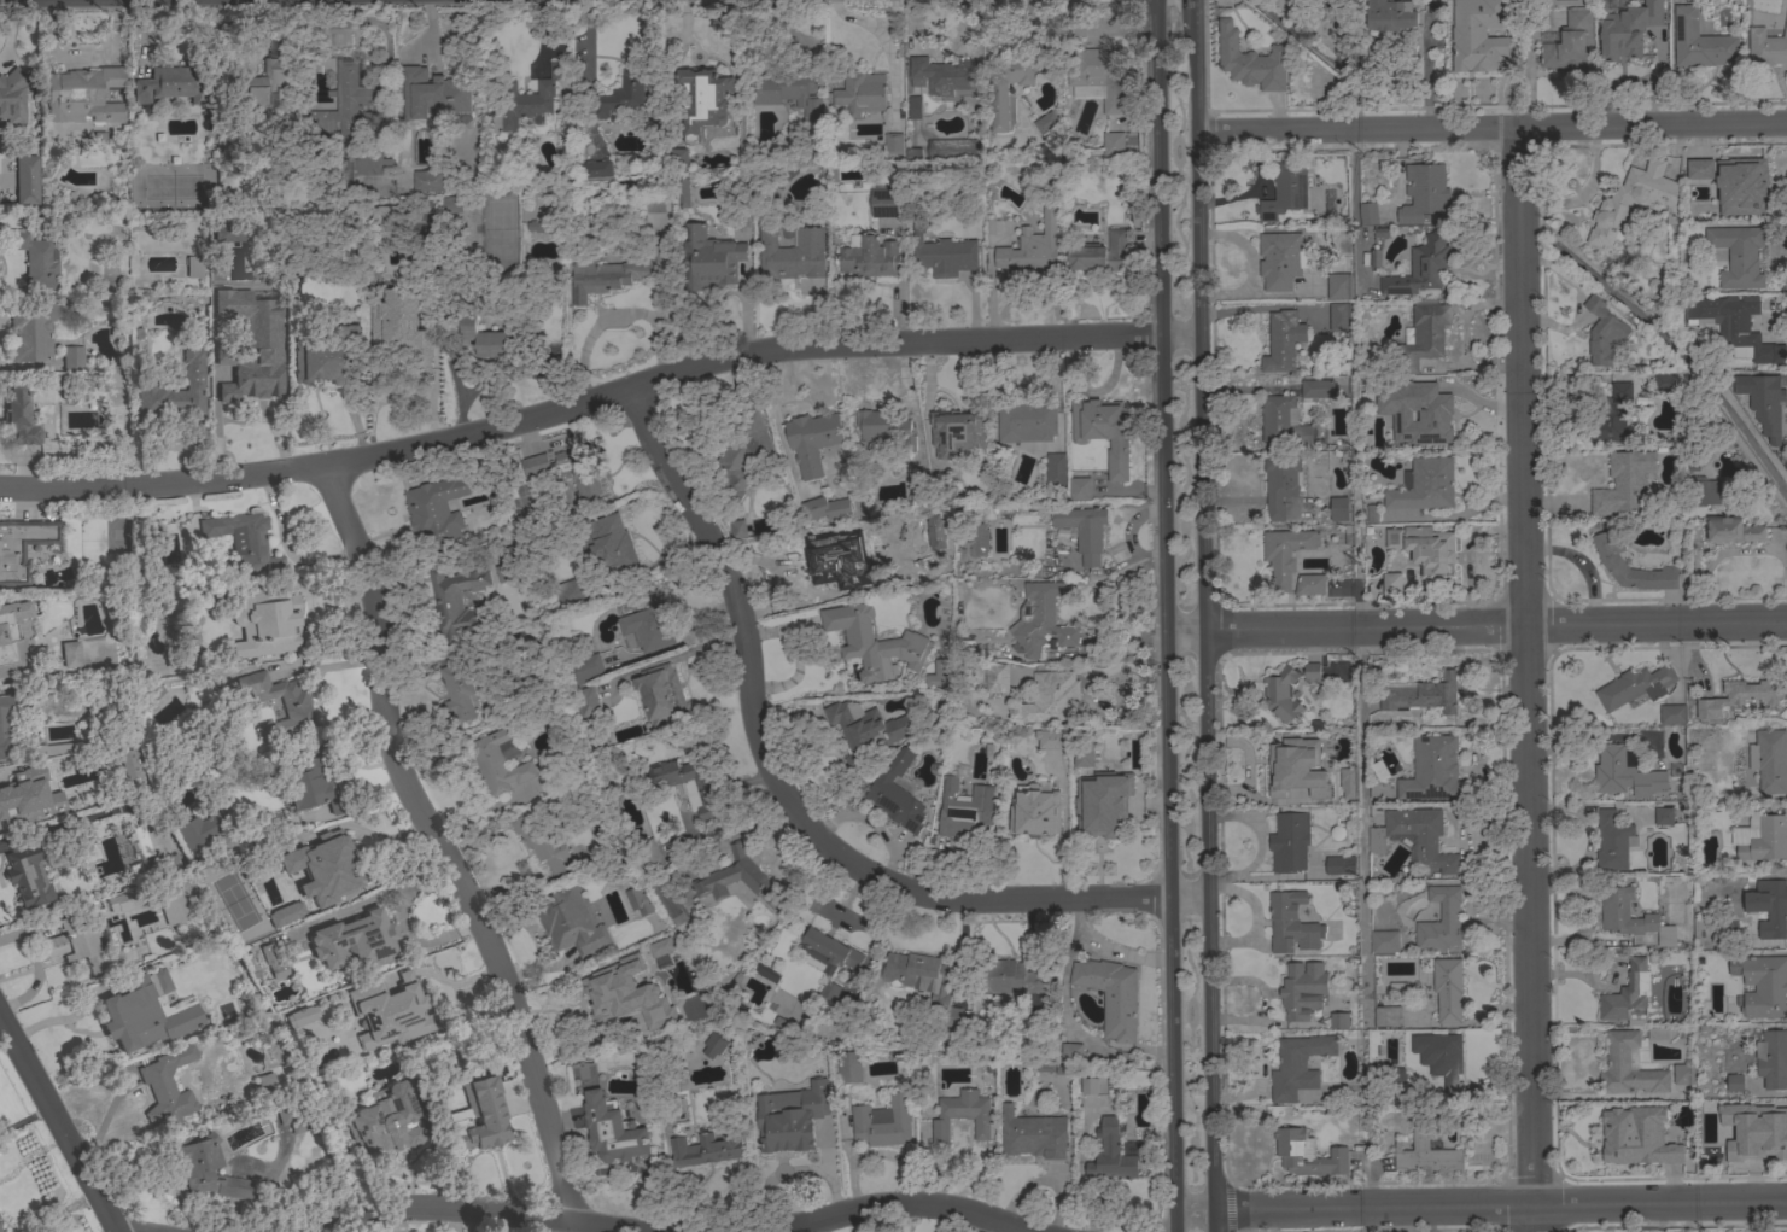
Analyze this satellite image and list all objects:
road: (1191, 14)
building: (1390, 14)
building: (1628, 29)
building: (1462, 36)
building: (1700, 41)
building: (1570, 42)
building: (1766, 46)
building: (1250, 60)
building: (944, 75)
building: (1097, 77)
building: (1011, 80)
building: (171, 84)
building: (263, 87)
building: (789, 92)
building: (860, 92)
building: (432, 93)
building: (82, 95)
building: (12, 97)
building: (623, 98)
building: (526, 100)
building: (703, 100)
building: (346, 104)
building: (913, 106)
building: (1046, 118)
road: (1579, 123)
road: (1283, 128)
building: (893, 142)
building: (1113, 144)
building: (950, 148)
building: (913, 153)
traffic signals: (1158, 159)
building: (366, 163)
building: (597, 168)
building: (1699, 168)
building: (25, 180)
building: (428, 180)
building: (1741, 185)
building: (1285, 189)
building: (683, 191)
building: (1424, 193)
building: (1633, 202)
building: (884, 203)
building: (452, 204)
building: (654, 204)
building: (430, 209)
building: (1368, 214)
building: (541, 226)
building: (1030, 246)
building: (789, 251)
building: (1100, 252)
building: (944, 255)
building: (1738, 255)
building: (870, 256)
building: (708, 257)
building: (1374, 258)
building: (35, 259)
building: (1280, 259)
building: (193, 267)
building: (1420, 267)
building: (232, 269)
building: (614, 274)
building: (1339, 286)
building: (1338, 316)
building: (1736, 328)
building: (34, 329)
building: (1602, 331)
building: (481, 337)
building: (1423, 337)
building: (1283, 340)
building: (405, 341)
building: (72, 358)
building: (325, 360)
building: (115, 376)
building: (250, 376)
building: (54, 381)
building: (1665, 381)
building: (1316, 389)
building: (1394, 389)
building: (173, 391)
road: (596, 397)
building: (1765, 402)
building: (1433, 414)
building: (1613, 415)
building: (19, 418)
building: (1372, 419)
building: (1026, 421)
building: (1283, 421)
building: (886, 427)
building: (1103, 432)
building: (957, 433)
building: (812, 440)
building: (742, 455)
building: (570, 469)
building: (1056, 469)
building: (915, 480)
building: (1624, 483)
building: (1280, 484)
building: (1425, 485)
building: (1079, 489)
building: (1703, 490)
building: (947, 491)
building: (825, 508)
building: (1338, 508)
building: (438, 510)
building: (1372, 513)
building: (737, 529)
building: (1084, 530)
building: (1733, 530)
building: (1392, 537)
building: (977, 539)
building: (244, 542)
building: (22, 548)
building: (617, 548)
building: (1429, 548)
building: (1285, 553)
road: (1722, 553)
building: (1613, 556)
building: (812, 560)
building: (1391, 582)
building: (1309, 584)
building: (571, 594)
building: (446, 599)
road: (1162, 601)
road: (1196, 617)
building: (1039, 619)
building: (267, 624)
building: (648, 624)
road: (1474, 624)
building: (12, 638)
building: (874, 642)
building: (585, 668)
building: (1312, 672)
building: (940, 673)
building: (995, 677)
road: (1525, 677)
building: (1635, 685)
building: (457, 691)
building: (662, 693)
building: (152, 694)
building: (1281, 694)
building: (1420, 694)
building: (1739, 696)
building: (1052, 697)
building: (586, 701)
building: (294, 703)
building: (1672, 713)
building: (5, 725)
building: (865, 730)
building: (267, 732)
building: (1050, 738)
building: (1328, 740)
building: (53, 749)
building: (500, 759)
building: (1769, 760)
building: (130, 765)
building: (1281, 765)
building: (70, 767)
building: (1641, 767)
building: (1431, 769)
building: (1624, 772)
building: (310, 781)
building: (1348, 782)
building: (6, 784)
building: (687, 784)
building: (897, 794)
road: (788, 798)
building: (964, 810)
building: (1035, 810)
building: (1, 812)
building: (1104, 812)
building: (1663, 816)
road: (1361, 824)
building: (198, 835)
building: (1415, 836)
building: (1762, 839)
building: (140, 841)
building: (1289, 841)
building: (1613, 841)
building: (541, 842)
road: (437, 847)
building: (646, 852)
building: (164, 864)
building: (1341, 866)
building: (27, 876)
building: (337, 877)
building: (737, 878)
building: (637, 899)
building: (125, 900)
building: (668, 900)
building: (1769, 906)
building: (173, 907)
building: (286, 915)
building: (1614, 916)
building: (1441, 919)
building: (570, 921)
building: (1291, 923)
building: (1384, 940)
building: (356, 941)
building: (75, 944)
building: (828, 952)
building: (273, 963)
building: (678, 967)
building: (766, 973)
building: (922, 979)
building: (1011, 979)
building: (1764, 986)
building: (1447, 988)
building: (1302, 989)
building: (641, 992)
building: (828, 994)
building: (1111, 994)
building: (1628, 995)
building: (145, 1014)
building: (391, 1014)
building: (1386, 1016)
building: (302, 1017)
building: (1338, 1020)
building: (1657, 1033)
building: (714, 1045)
building: (1071, 1052)
building: (1441, 1058)
building: (1773, 1058)
building: (1298, 1065)
building: (1629, 1067)
building: (848, 1068)
building: (1388, 1074)
building: (1683, 1074)
building: (264, 1082)
building: (1735, 1082)
building: (665, 1084)
building: (168, 1086)
building: (1093, 1086)
building: (960, 1115)
building: (293, 1116)
building: (790, 1116)
building: (386, 1120)
building: (882, 1121)
building: (480, 1122)
road: (58, 1123)
building: (612, 1129)
building: (1768, 1132)
building: (1035, 1135)
building: (1619, 1142)
building: (707, 1148)
building: (1426, 1152)
building: (1113, 1154)
building: (1307, 1154)
building: (1666, 1156)
building: (199, 1157)
road: (894, 1205)
road: (1479, 1205)
road: (1228, 1207)
road: (467, 1209)
road: (1174, 1218)
road: (1214, 1218)
building: (0, 1231)

